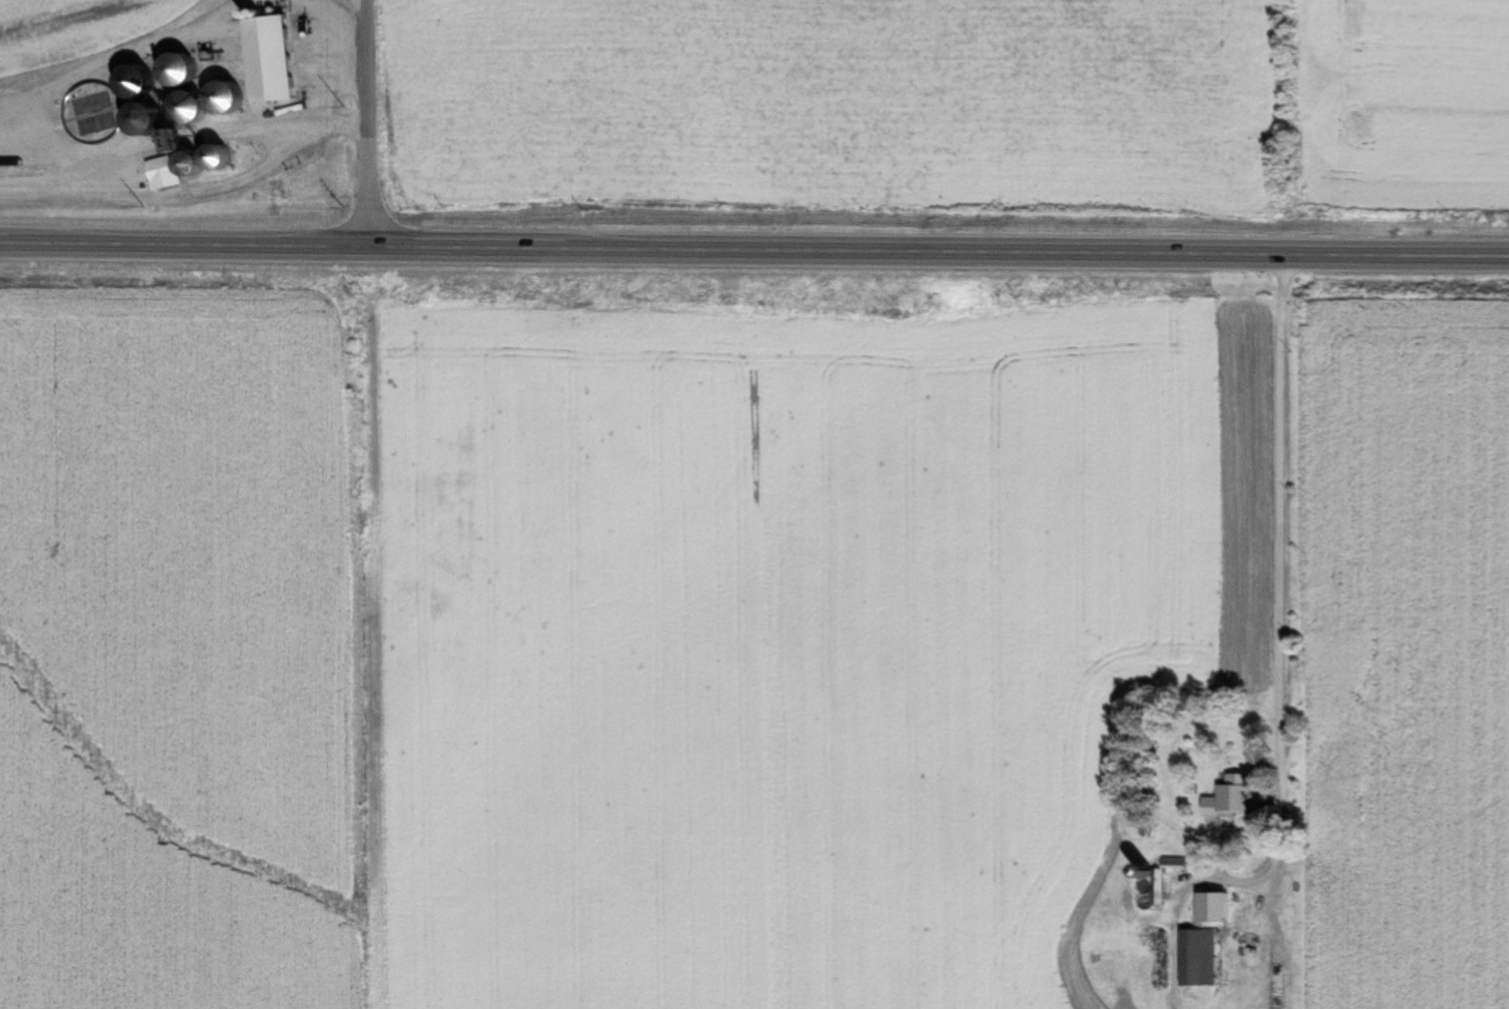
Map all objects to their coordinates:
building: (265, 62)
building: (172, 71)
building: (219, 98)
building: (187, 106)
building: (143, 112)
road: (367, 125)
building: (211, 155)
building: (168, 171)
road: (754, 251)
road: (1283, 524)
building: (1231, 804)
building: (1157, 889)
building: (1209, 909)
building: (1194, 959)

